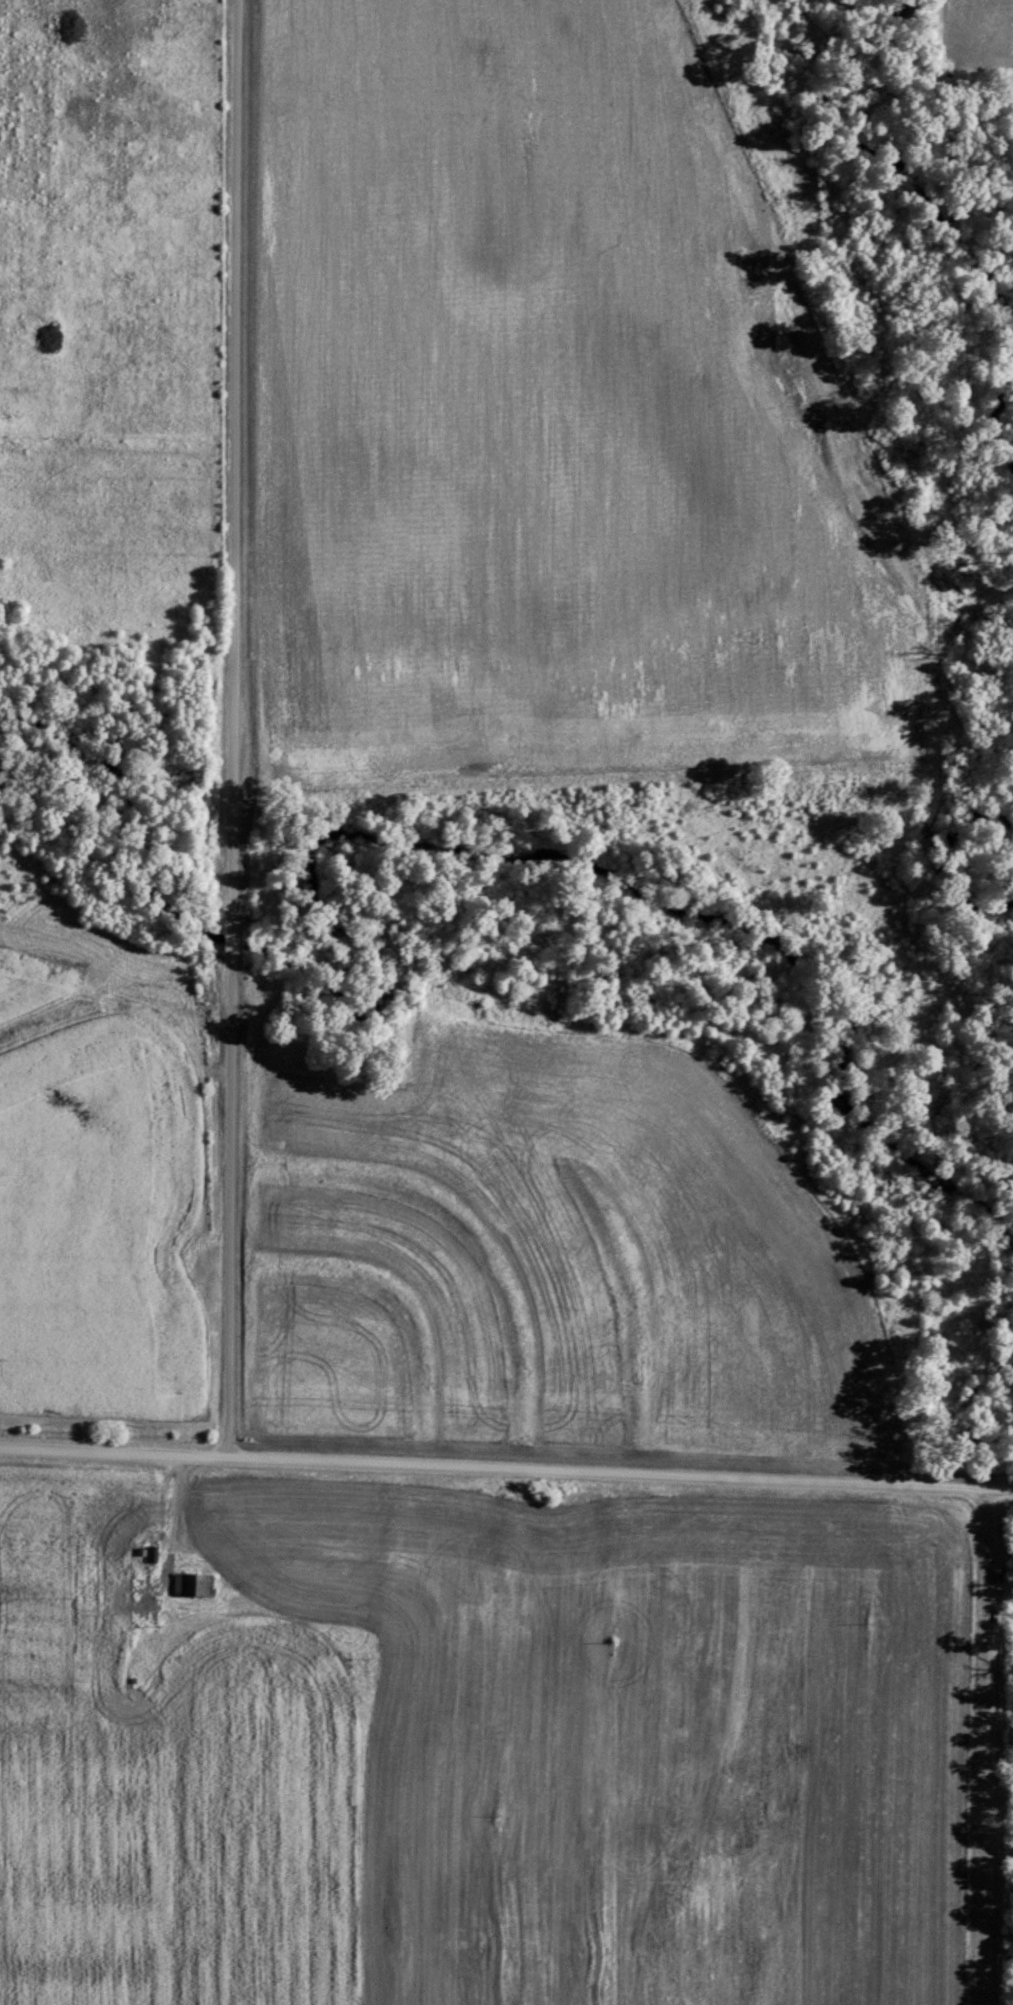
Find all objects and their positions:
road: (238, 728)
road: (506, 1468)
road: (176, 1515)
building: (191, 1583)
road: (982, 1745)

